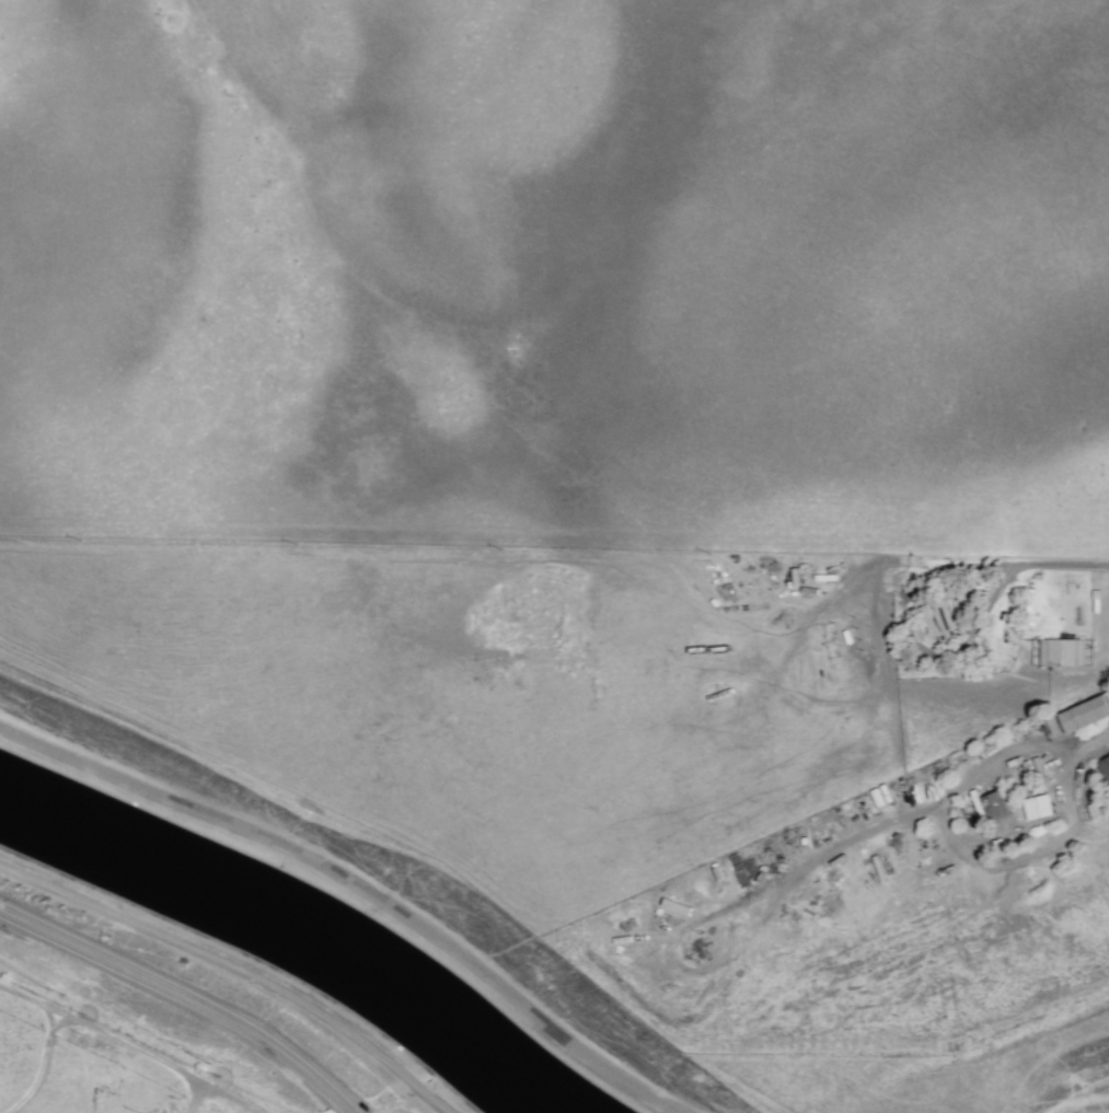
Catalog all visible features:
road: (943, 560)
building: (935, 619)
building: (1061, 650)
building: (1083, 712)
road: (1091, 739)
building: (1104, 767)
road: (157, 785)
building: (994, 804)
building: (1037, 805)
road: (846, 839)
road: (962, 846)
building: (882, 867)
road: (506, 985)
road: (187, 995)
road: (33, 1001)
road: (45, 1018)
road: (164, 1062)
road: (42, 1067)

